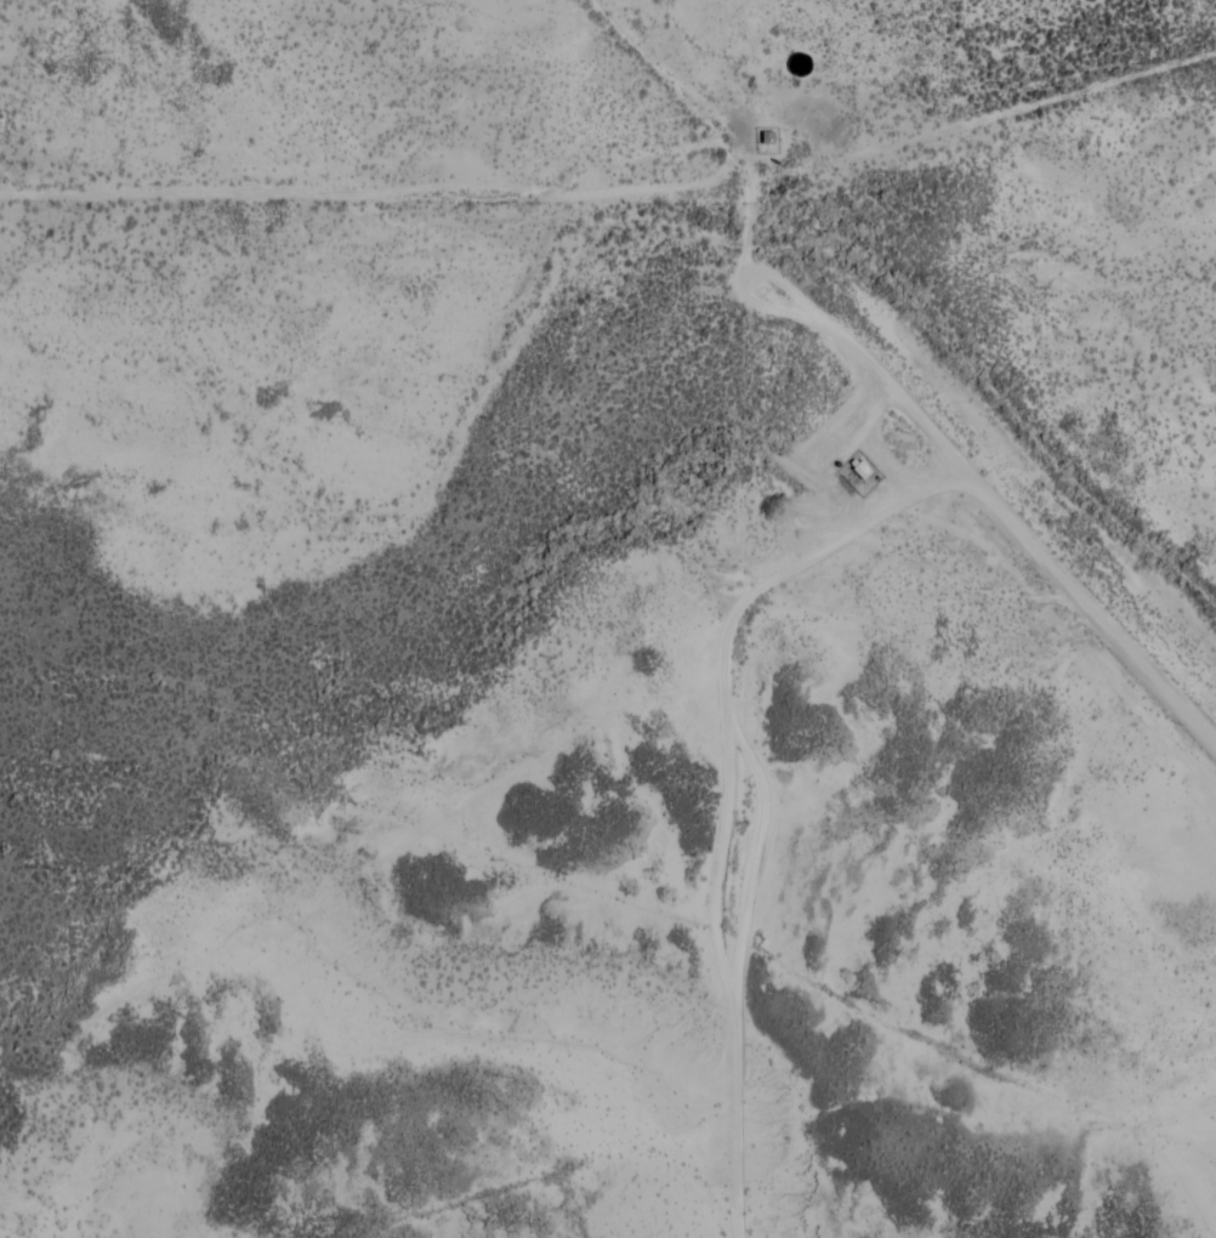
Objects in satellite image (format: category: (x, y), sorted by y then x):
road: (882, 396)
building: (860, 471)

